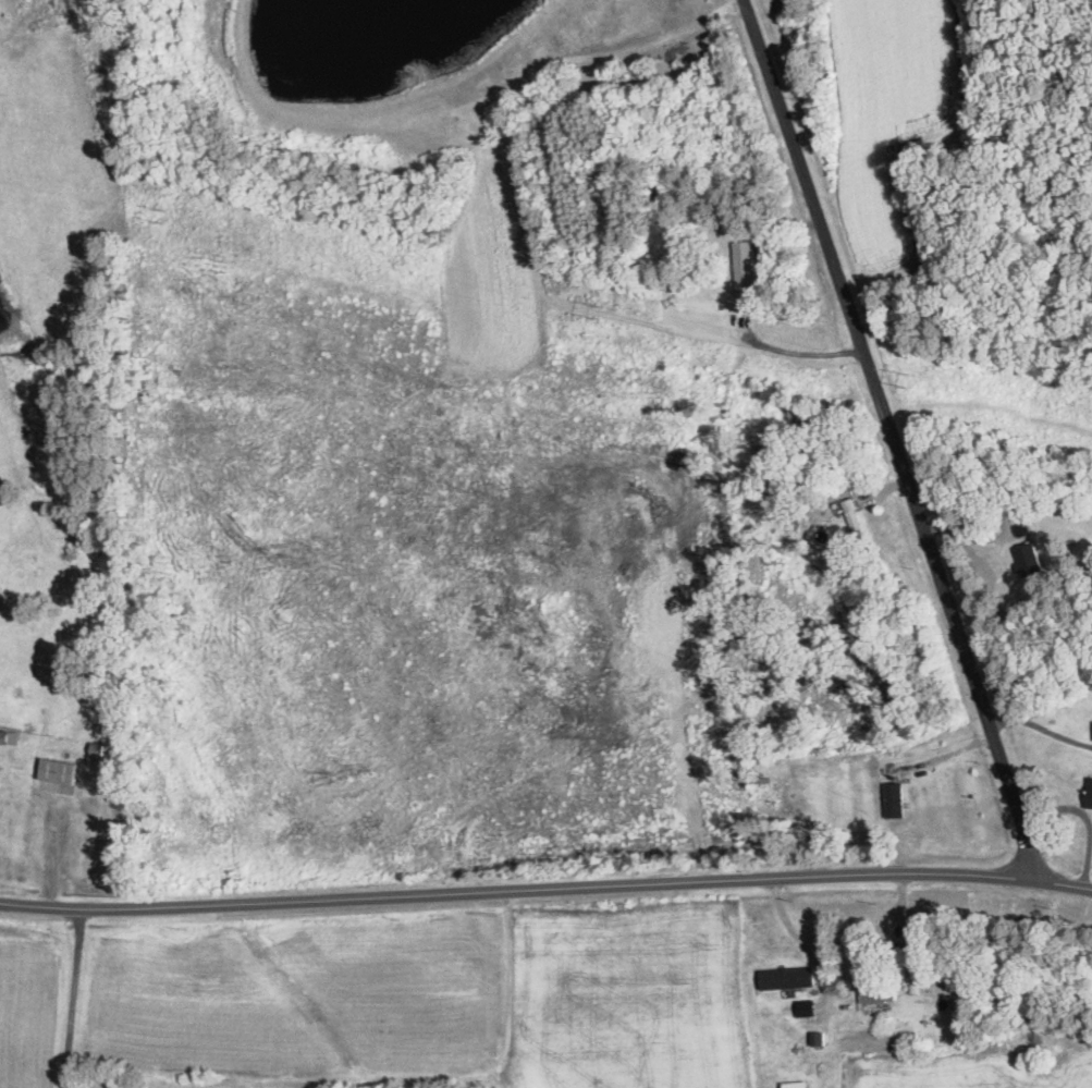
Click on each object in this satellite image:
building: (746, 268)
power tower: (296, 280)
power tower: (860, 403)
road: (895, 439)
building: (1029, 560)
building: (4, 737)
building: (60, 772)
building: (1090, 796)
road: (545, 890)
building: (918, 951)
building: (788, 979)
building: (878, 995)
road: (75, 998)

